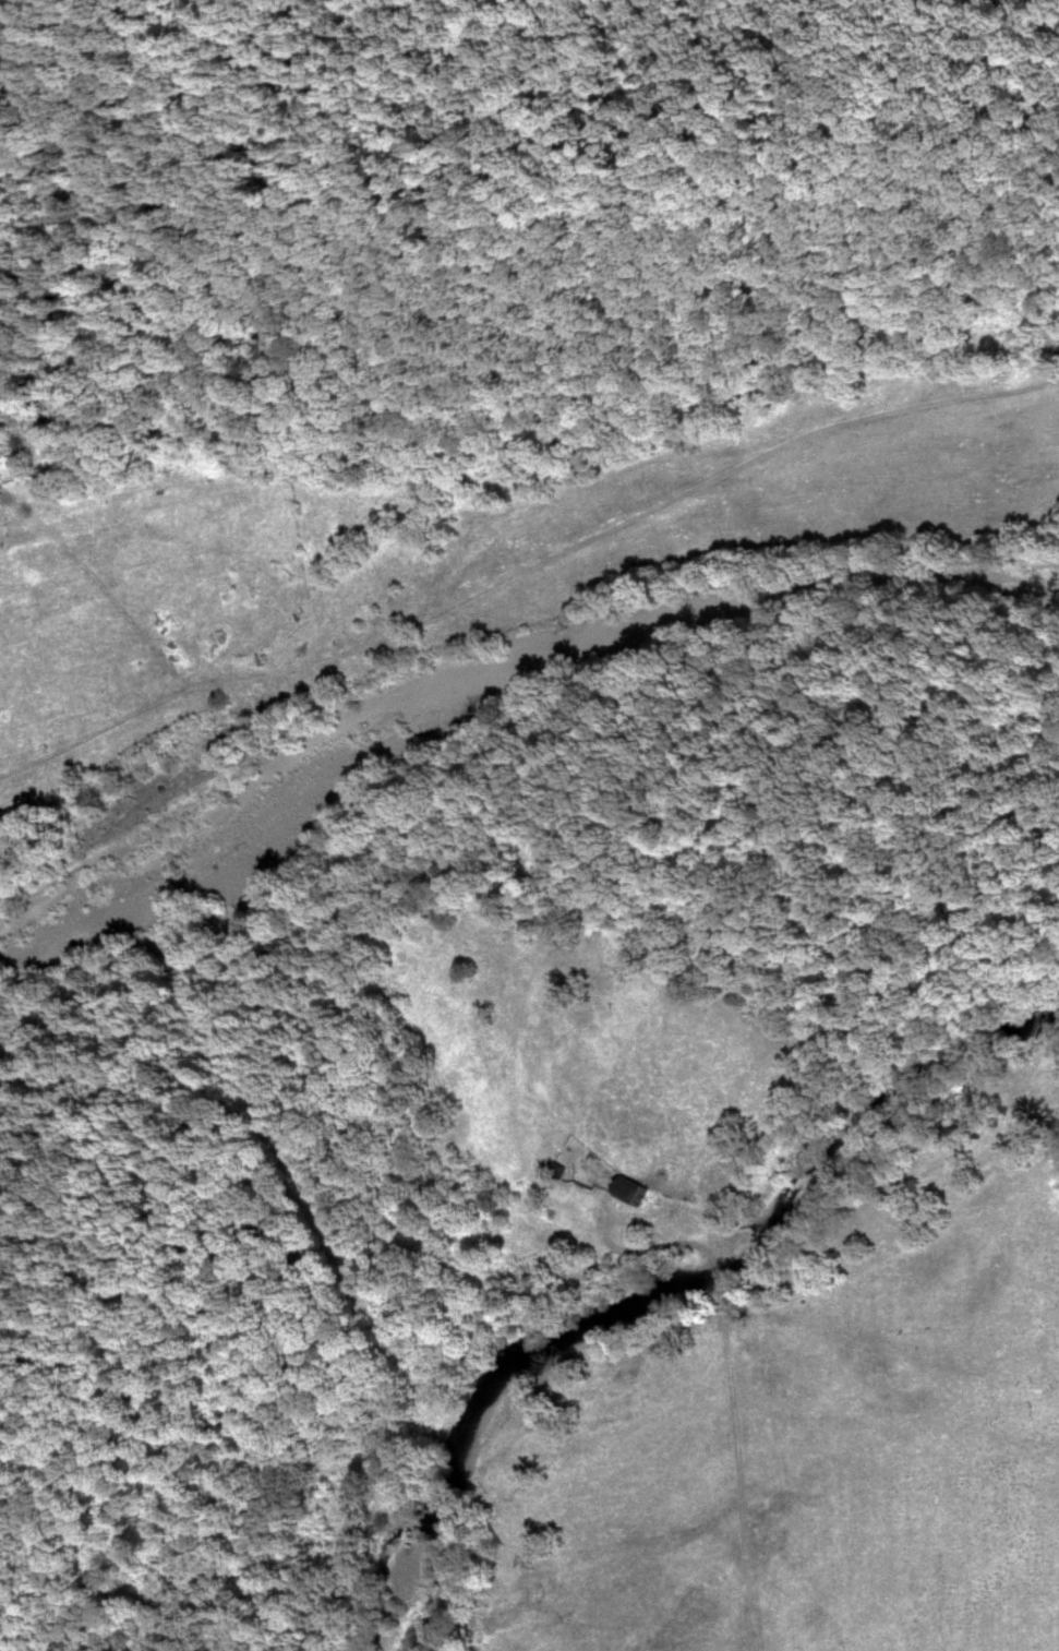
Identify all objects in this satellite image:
road: (734, 1380)

